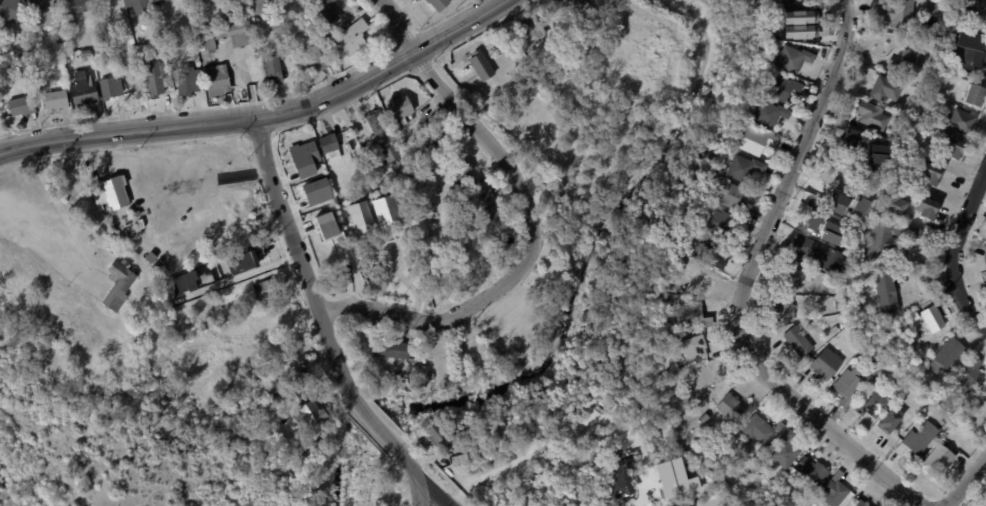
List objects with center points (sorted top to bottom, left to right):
building: (418, 0)
building: (783, 1)
building: (158, 2)
building: (309, 2)
building: (436, 4)
building: (137, 6)
building: (256, 6)
building: (569, 6)
building: (76, 7)
building: (9, 10)
building: (41, 12)
building: (897, 13)
building: (324, 15)
building: (799, 24)
building: (880, 28)
building: (527, 31)
building: (235, 34)
building: (955, 35)
building: (351, 39)
building: (206, 44)
building: (83, 54)
building: (977, 54)
building: (791, 57)
building: (908, 62)
building: (274, 63)
building: (311, 63)
building: (481, 65)
road: (384, 67)
building: (151, 80)
building: (186, 82)
building: (215, 82)
building: (781, 86)
building: (884, 88)
building: (109, 89)
building: (84, 91)
building: (973, 94)
building: (54, 101)
building: (20, 107)
building: (400, 107)
building: (765, 112)
building: (871, 114)
building: (962, 120)
building: (376, 121)
road: (129, 130)
building: (849, 137)
building: (435, 138)
building: (754, 140)
building: (370, 142)
building: (328, 145)
building: (348, 146)
building: (953, 147)
building: (388, 151)
building: (877, 154)
building: (300, 156)
building: (743, 167)
building: (930, 173)
building: (375, 174)
building: (860, 176)
road: (175, 177)
building: (402, 180)
building: (109, 193)
building: (729, 196)
building: (836, 202)
building: (895, 204)
building: (860, 206)
building: (926, 208)
building: (486, 210)
building: (811, 221)
road: (533, 222)
building: (720, 223)
building: (324, 224)
building: (831, 232)
building: (888, 238)
road: (959, 249)
building: (706, 252)
building: (818, 253)
building: (985, 258)
building: (241, 262)
building: (869, 264)
road: (237, 273)
building: (787, 278)
road: (405, 279)
building: (697, 280)
building: (186, 281)
building: (117, 285)
road: (741, 288)
building: (265, 289)
building: (885, 293)
building: (854, 303)
building: (781, 305)
road: (320, 313)
building: (688, 317)
building: (933, 318)
building: (863, 324)
building: (798, 340)
building: (693, 348)
building: (391, 349)
building: (871, 354)
building: (947, 355)
building: (433, 359)
building: (825, 363)
building: (873, 370)
building: (972, 374)
building: (298, 381)
building: (985, 384)
building: (848, 386)
building: (985, 399)
building: (871, 404)
building: (729, 407)
building: (307, 414)
building: (703, 419)
building: (888, 421)
building: (759, 428)
building: (442, 436)
building: (917, 439)
building: (784, 450)
building: (754, 458)
park: (131, 459)
building: (937, 461)
building: (753, 470)
building: (811, 470)
building: (767, 480)
road: (967, 482)
building: (834, 491)
road: (419, 497)
road: (434, 497)
building: (861, 503)

